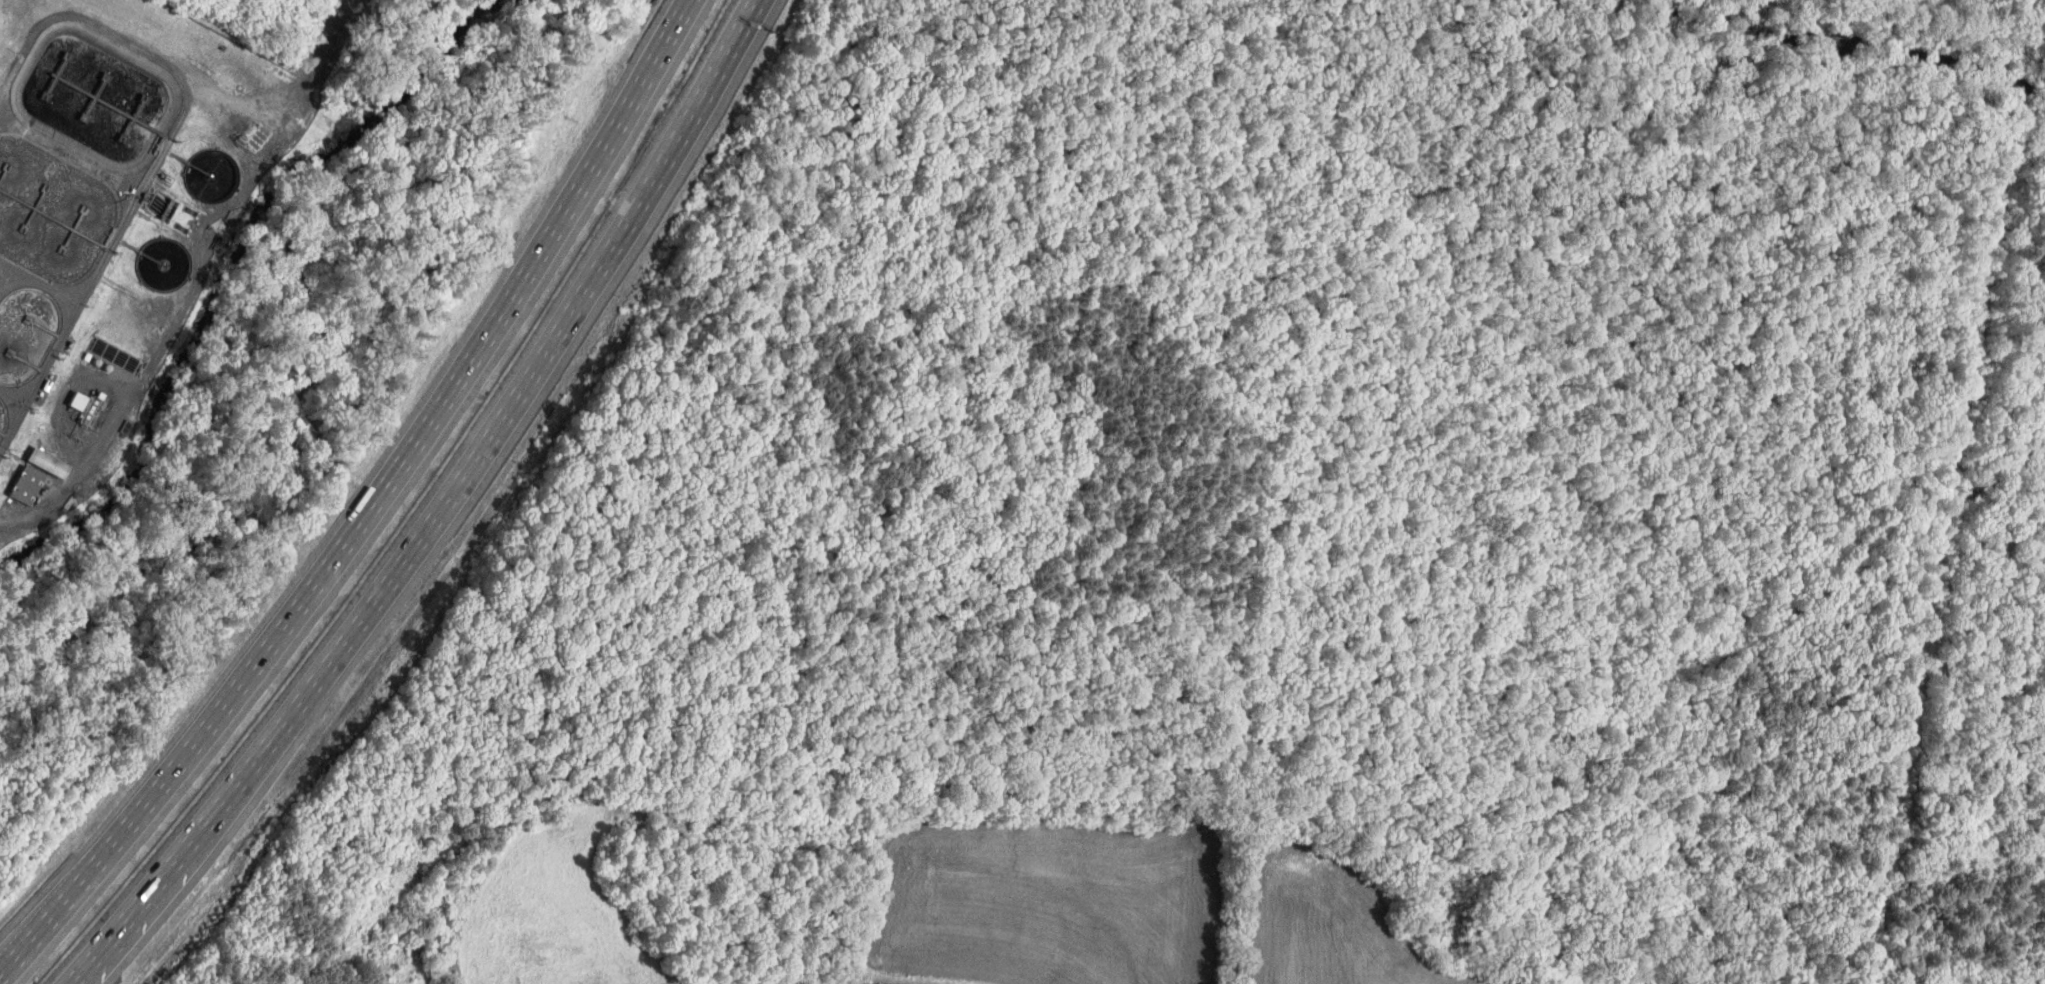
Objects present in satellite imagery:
road: (547, 237)
road: (603, 253)
road: (104, 381)
building: (39, 462)
building: (18, 485)
road: (45, 508)
road: (207, 728)
road: (261, 747)
road: (42, 920)
road: (67, 983)

